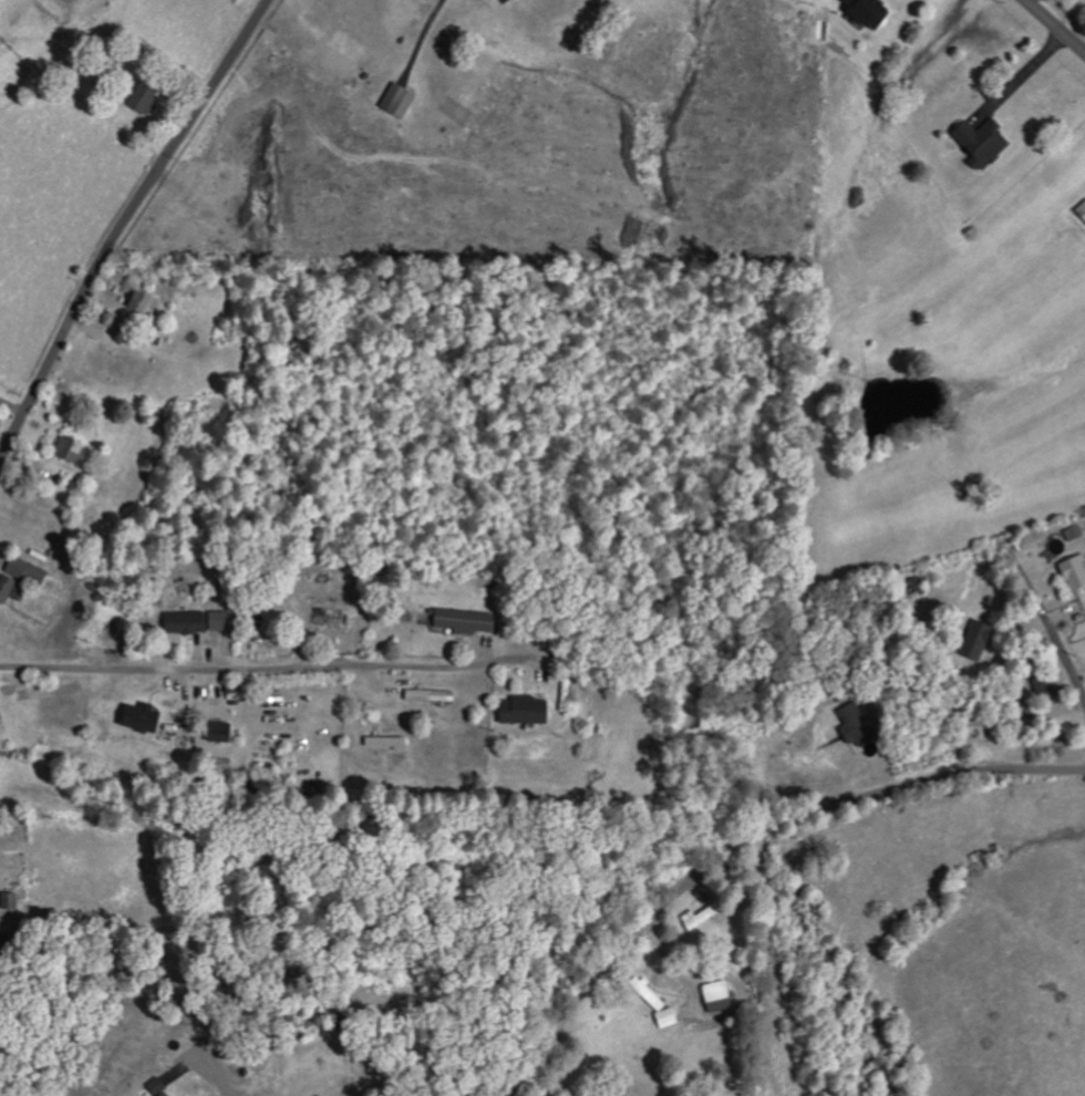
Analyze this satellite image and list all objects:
building: (807, 1)
building: (866, 12)
road: (1055, 25)
building: (141, 100)
building: (396, 101)
building: (980, 142)
road: (123, 226)
building: (147, 301)
building: (75, 447)
building: (1073, 533)
building: (1073, 572)
building: (22, 576)
building: (334, 618)
building: (471, 621)
building: (203, 622)
building: (973, 641)
road: (1061, 649)
road: (262, 669)
building: (436, 695)
building: (530, 710)
building: (148, 717)
building: (852, 725)
building: (225, 733)
building: (392, 741)
road: (746, 841)
building: (704, 918)
building: (722, 996)
building: (658, 1002)
road: (210, 1065)
building: (163, 1088)

